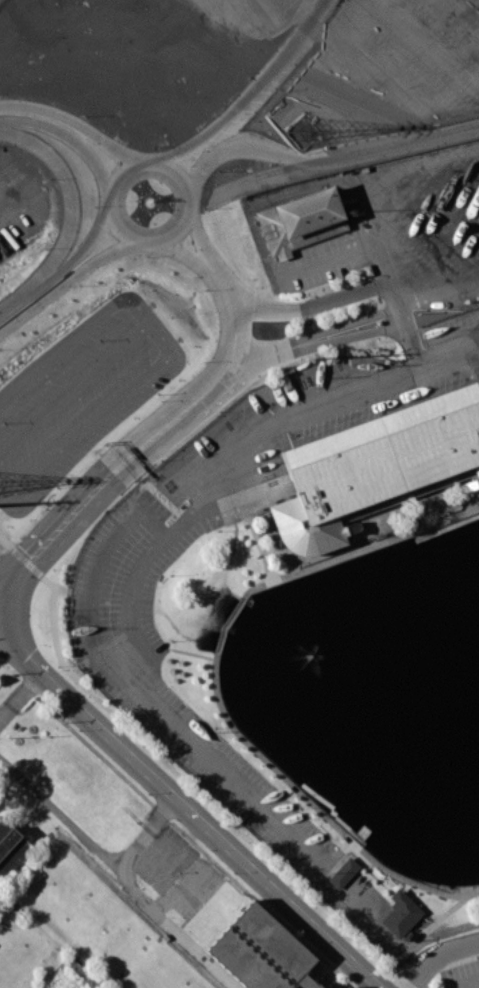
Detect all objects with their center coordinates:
road: (299, 8)
road: (251, 95)
road: (74, 122)
road: (68, 136)
road: (322, 161)
road: (73, 193)
road: (109, 203)
building: (301, 221)
road: (197, 238)
road: (182, 251)
road: (323, 261)
road: (60, 268)
road: (63, 284)
road: (438, 293)
road: (348, 296)
road: (265, 309)
road: (236, 324)
road: (330, 329)
road: (334, 341)
road: (447, 345)
road: (234, 370)
road: (99, 484)
road: (253, 527)
traffic signals: (32, 557)
road: (135, 587)
pier: (452, 594)
pier: (459, 622)
pier: (352, 633)
pier: (465, 634)
pier: (462, 646)
road: (175, 650)
traffic signals: (29, 656)
pier: (361, 659)
pier: (466, 669)
pier: (391, 674)
road: (216, 687)
pier: (360, 692)
pier: (470, 693)
road: (22, 694)
pier: (399, 695)
pier: (376, 715)
pier: (474, 718)
pier: (407, 719)
pier: (385, 741)
pier: (478, 741)
pier: (415, 742)
pier: (408, 758)
pier: (422, 763)
pier: (394, 767)
pier: (431, 786)
pier: (403, 793)
road: (190, 808)
pier: (422, 813)
pier: (435, 835)
building: (12, 849)
pier: (455, 855)
pier: (434, 856)
road: (334, 860)
building: (343, 873)
road: (455, 892)
building: (401, 915)
road: (442, 917)
road: (427, 934)
building: (262, 952)
road: (439, 956)
road: (468, 984)
building: (347, 987)

